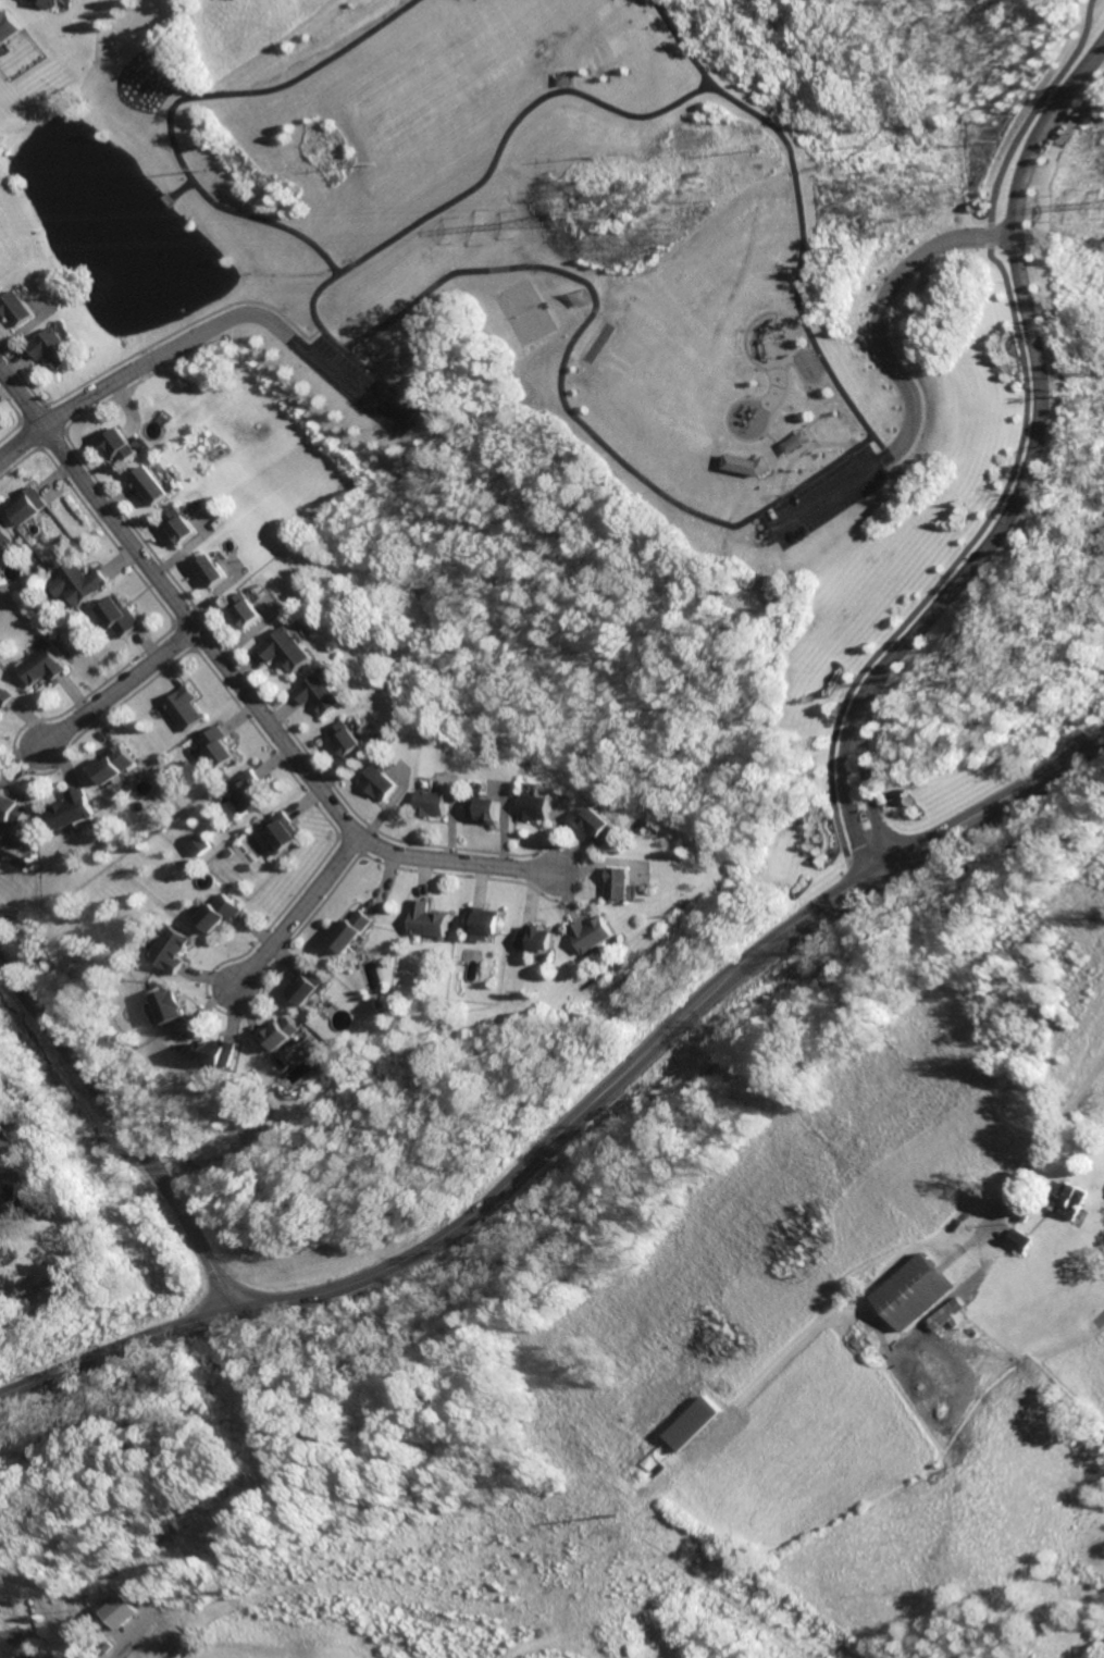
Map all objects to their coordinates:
building: (50, 2)
building: (9, 28)
road: (682, 44)
road: (1069, 51)
building: (560, 78)
road: (170, 101)
road: (1047, 102)
road: (1078, 115)
power tower: (597, 214)
building: (572, 298)
building: (18, 308)
road: (880, 310)
park: (518, 311)
road: (282, 336)
building: (55, 348)
road: (828, 370)
parking lot: (357, 384)
road: (1042, 397)
road: (76, 407)
building: (792, 440)
building: (127, 444)
building: (745, 466)
building: (157, 483)
parking lot: (817, 498)
road: (998, 502)
building: (28, 506)
building: (185, 527)
building: (3, 536)
building: (218, 571)
building: (74, 582)
building: (251, 610)
building: (117, 616)
building: (291, 648)
building: (38, 667)
road: (116, 688)
road: (239, 688)
building: (321, 693)
building: (3, 698)
building: (181, 708)
building: (349, 739)
building: (215, 746)
building: (113, 765)
building: (381, 783)
road: (863, 784)
road: (845, 787)
building: (246, 793)
building: (433, 805)
building: (12, 809)
building: (71, 809)
building: (538, 809)
building: (488, 812)
building: (605, 828)
building: (278, 831)
building: (194, 843)
road: (876, 857)
road: (865, 867)
building: (621, 884)
road: (291, 913)
building: (214, 914)
building: (424, 921)
building: (481, 923)
building: (349, 931)
building: (592, 935)
building: (538, 940)
building: (169, 951)
building: (303, 987)
building: (166, 1006)
building: (280, 1036)
building: (218, 1054)
road: (574, 1118)
road: (125, 1137)
building: (10, 1140)
road: (1040, 1148)
building: (12, 1197)
building: (1071, 1199)
building: (1018, 1241)
road: (964, 1243)
building: (4, 1248)
building: (53, 1287)
building: (911, 1289)
building: (947, 1314)
crop: (917, 1358)
road: (34, 1406)
building: (691, 1423)
park: (491, 1599)
building: (125, 1610)
building: (12, 1643)

